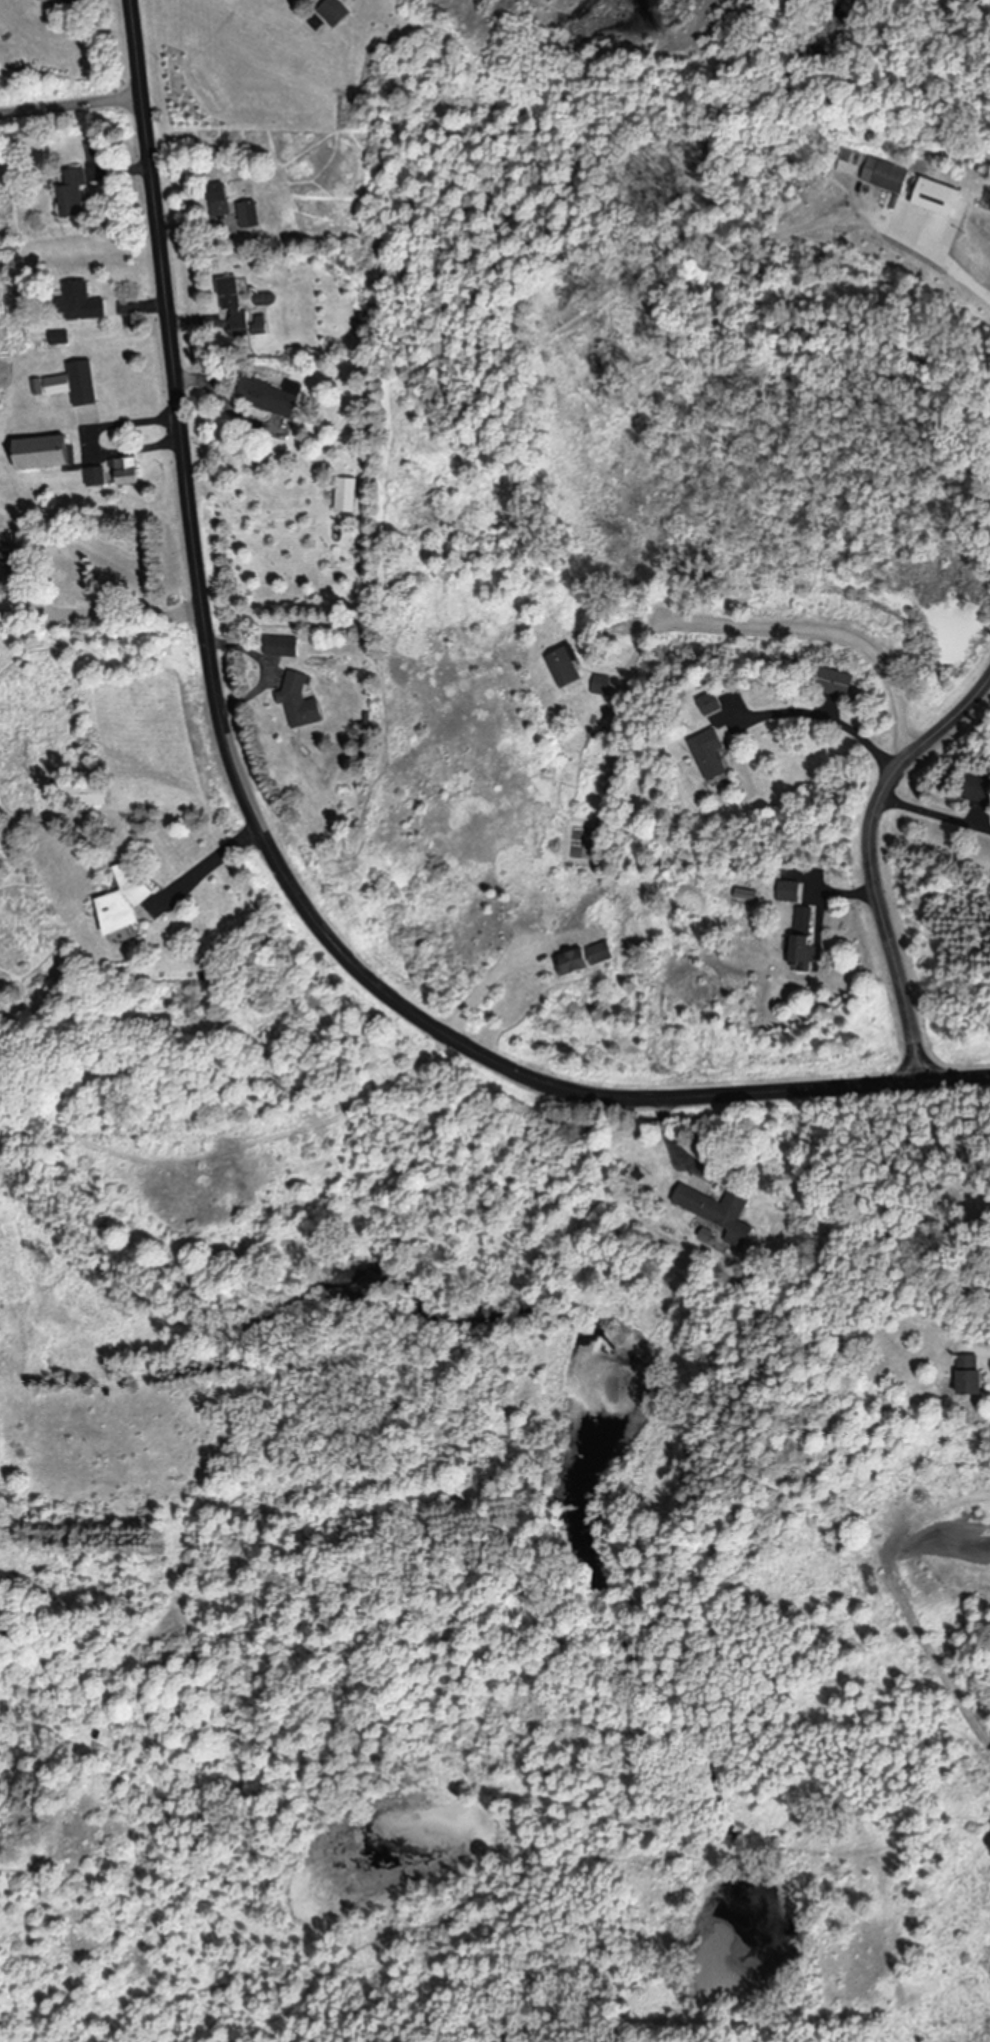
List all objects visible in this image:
building: (333, 12)
quarry: (734, 53)
road: (71, 107)
building: (92, 152)
building: (845, 162)
building: (881, 175)
building: (72, 192)
building: (932, 197)
building: (217, 200)
building: (247, 215)
road: (170, 225)
road: (940, 261)
building: (79, 303)
road: (144, 305)
building: (236, 309)
road: (191, 322)
road: (205, 383)
building: (74, 384)
building: (269, 396)
road: (96, 439)
building: (39, 453)
building: (125, 472)
building: (95, 477)
building: (346, 495)
building: (9, 553)
road: (29, 583)
road: (22, 611)
road: (123, 616)
road: (803, 629)
road: (228, 646)
building: (281, 647)
building: (564, 666)
building: (834, 682)
building: (600, 685)
road: (240, 699)
building: (298, 702)
building: (709, 704)
road: (830, 715)
building: (709, 755)
building: (84, 795)
road: (934, 814)
road: (258, 827)
road: (872, 857)
road: (221, 858)
road: (850, 885)
building: (787, 892)
building: (123, 900)
building: (802, 940)
building: (584, 959)
road: (482, 989)
road: (674, 1141)
building: (717, 1213)
building: (969, 1377)

